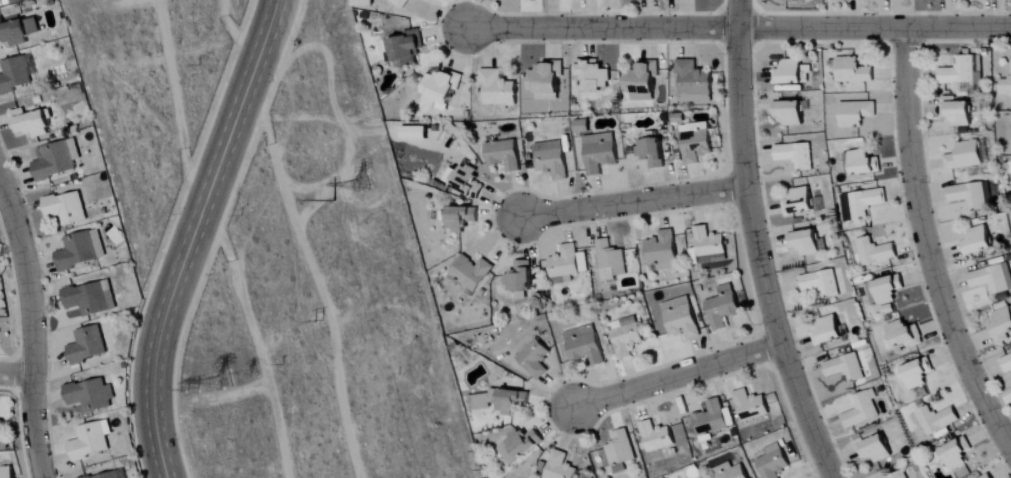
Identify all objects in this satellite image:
building: (794, 0)
building: (362, 3)
building: (400, 3)
road: (875, 27)
road: (602, 28)
building: (18, 31)
building: (408, 48)
building: (855, 71)
building: (959, 72)
building: (790, 73)
building: (595, 74)
building: (16, 75)
building: (547, 81)
building: (643, 82)
building: (694, 82)
building: (1005, 87)
building: (442, 88)
building: (499, 89)
building: (958, 111)
building: (791, 112)
building: (857, 113)
building: (31, 123)
building: (583, 126)
building: (416, 132)
building: (697, 142)
building: (601, 152)
building: (653, 152)
building: (505, 155)
building: (797, 155)
building: (965, 156)
building: (553, 159)
building: (53, 161)
building: (861, 163)
building: (468, 182)
power tower: (359, 183)
building: (969, 195)
power tower: (329, 202)
road: (636, 202)
building: (800, 202)
building: (867, 203)
building: (66, 208)
building: (462, 218)
road: (192, 235)
building: (979, 241)
building: (806, 242)
road: (756, 244)
building: (710, 245)
road: (925, 246)
building: (81, 250)
building: (663, 251)
building: (876, 252)
building: (610, 261)
building: (564, 265)
building: (472, 273)
building: (520, 277)
building: (992, 279)
building: (821, 283)
building: (887, 291)
building: (89, 298)
building: (724, 308)
power tower: (313, 317)
building: (682, 318)
building: (1002, 326)
road: (32, 327)
building: (829, 331)
building: (906, 335)
building: (626, 336)
building: (88, 345)
building: (585, 345)
building: (536, 359)
building: (1007, 364)
building: (846, 367)
power tower: (233, 372)
power tower: (254, 374)
building: (918, 374)
road: (16, 375)
road: (675, 376)
power tower: (204, 378)
building: (89, 396)
building: (503, 402)
building: (751, 405)
building: (862, 411)
building: (937, 420)
building: (1, 429)
building: (657, 437)
building: (91, 441)
building: (519, 446)
building: (877, 449)
building: (619, 452)
building: (958, 454)
building: (774, 462)
building: (560, 466)
building: (731, 471)
building: (8, 472)
building: (110, 475)
building: (901, 475)
building: (989, 476)

